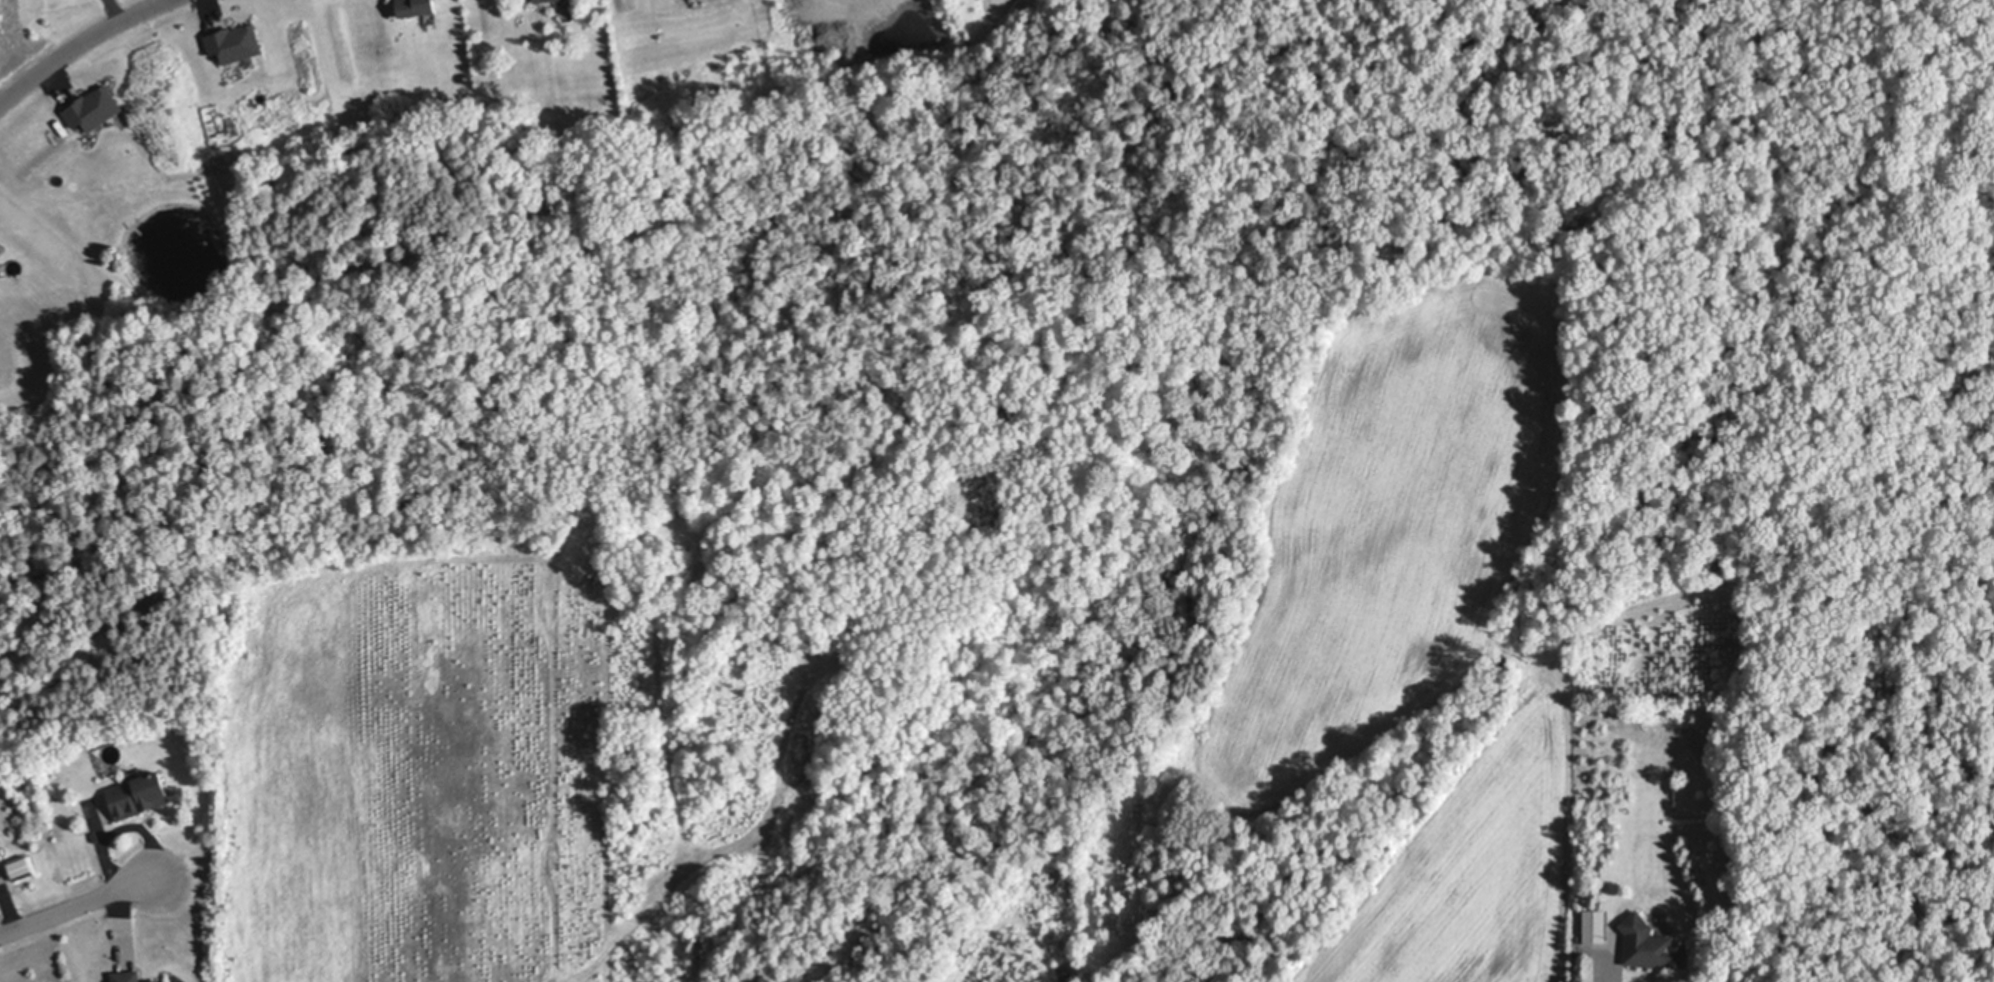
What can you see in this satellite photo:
building: (540, 1)
building: (415, 7)
building: (234, 42)
road: (78, 44)
building: (94, 108)
building: (138, 796)
building: (0, 859)
road: (77, 905)
building: (1593, 928)
building: (1650, 944)
building: (127, 976)
road: (1603, 977)
building: (153, 981)
building: (171, 981)

